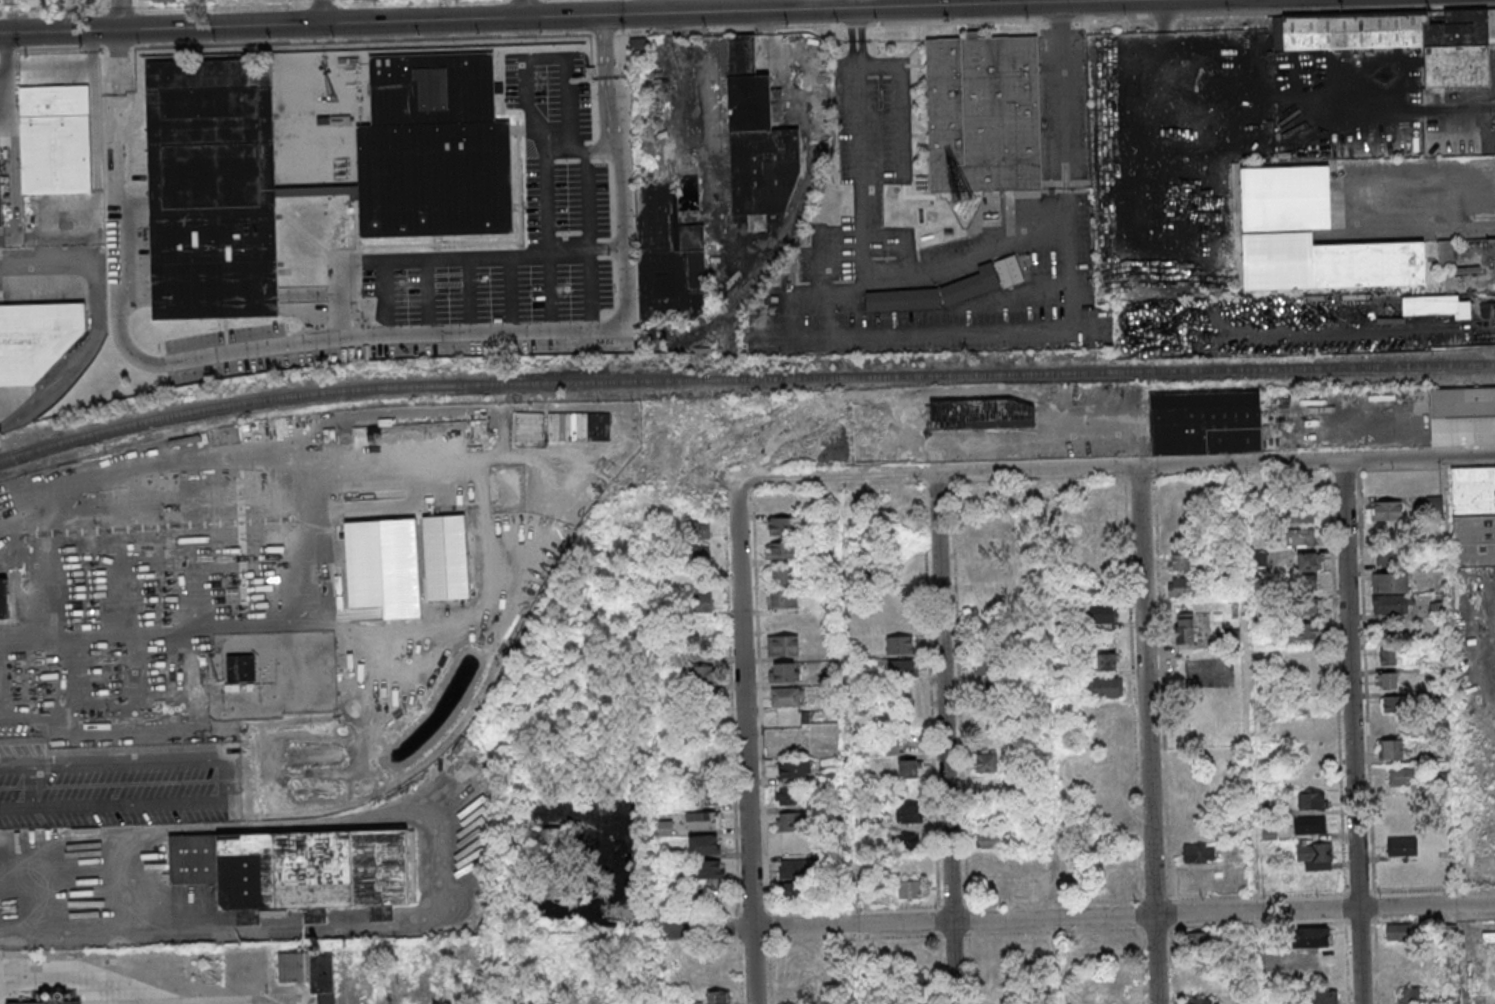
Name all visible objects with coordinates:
building: (164, 0)
road: (1028, 1)
road: (523, 9)
road: (321, 12)
road: (119, 15)
road: (568, 15)
building: (1403, 42)
road: (7, 76)
road: (1463, 106)
building: (987, 117)
road: (7, 118)
building: (761, 140)
building: (58, 141)
road: (15, 143)
road: (544, 165)
building: (1, 174)
building: (331, 186)
building: (1289, 201)
road: (1426, 229)
building: (1492, 250)
road: (441, 256)
building: (1448, 257)
building: (672, 263)
building: (1332, 265)
road: (940, 266)
building: (1012, 273)
road: (823, 288)
building: (974, 288)
building: (905, 303)
building: (1487, 310)
road: (95, 321)
road: (1487, 321)
road: (964, 331)
road: (362, 339)
building: (38, 341)
railway: (743, 378)
building: (985, 418)
building: (1464, 418)
building: (1208, 425)
building: (228, 436)
road: (1127, 469)
building: (1437, 503)
building: (1386, 510)
building: (1300, 513)
building: (1474, 516)
building: (782, 526)
building: (696, 530)
building: (1301, 537)
building: (782, 551)
building: (698, 555)
building: (1389, 555)
building: (1258, 558)
building: (446, 561)
building: (1307, 561)
building: (1181, 562)
building: (782, 575)
building: (1306, 581)
building: (1102, 587)
building: (1182, 587)
building: (1391, 593)
building: (991, 597)
building: (782, 600)
building: (5, 602)
building: (700, 604)
building: (1311, 606)
building: (1102, 613)
building: (64, 616)
building: (1185, 628)
building: (1304, 633)
building: (783, 645)
building: (900, 645)
road: (89, 646)
building: (1388, 656)
building: (1107, 661)
building: (903, 667)
building: (244, 669)
building: (783, 672)
building: (992, 674)
building: (703, 676)
building: (1388, 680)
building: (1105, 687)
building: (788, 697)
building: (1395, 704)
road: (1351, 732)
road: (1254, 734)
road: (1146, 736)
road: (747, 737)
road: (1051, 738)
road: (945, 739)
road: (850, 741)
building: (892, 748)
building: (1390, 749)
building: (987, 764)
building: (908, 769)
building: (794, 770)
building: (1402, 776)
building: (787, 796)
building: (1311, 800)
building: (907, 814)
building: (703, 820)
building: (791, 822)
building: (1310, 824)
building: (665, 827)
building: (989, 840)
building: (905, 842)
building: (704, 845)
building: (1402, 847)
building: (554, 848)
building: (1199, 853)
building: (1315, 854)
building: (795, 869)
building: (709, 870)
building: (304, 871)
building: (554, 887)
building: (910, 889)
building: (794, 891)
road: (1076, 917)
building: (1400, 932)
building: (1312, 937)
building: (1198, 941)
building: (309, 972)
building: (1409, 975)
road: (92, 981)
building: (1410, 995)
building: (718, 997)
building: (1322, 997)
building: (1198, 1001)
building: (1244, 1001)
building: (27, 1002)
building: (71, 1002)

